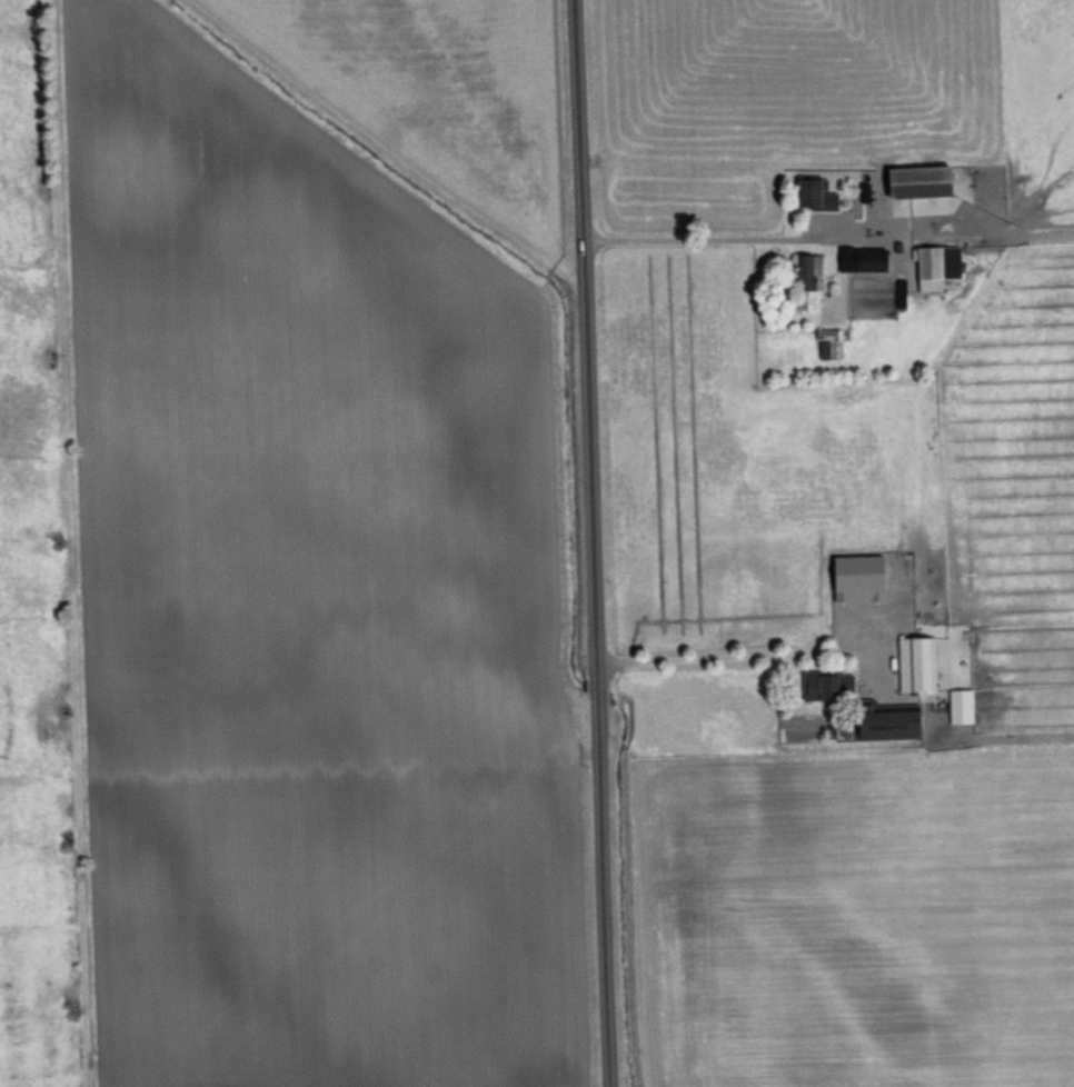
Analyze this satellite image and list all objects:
building: (915, 180)
building: (811, 193)
road: (723, 239)
building: (863, 259)
building: (934, 266)
building: (806, 281)
building: (899, 292)
building: (825, 340)
road: (599, 542)
building: (855, 577)
road: (738, 657)
building: (914, 662)
building: (824, 685)
building: (958, 705)
building: (885, 722)

